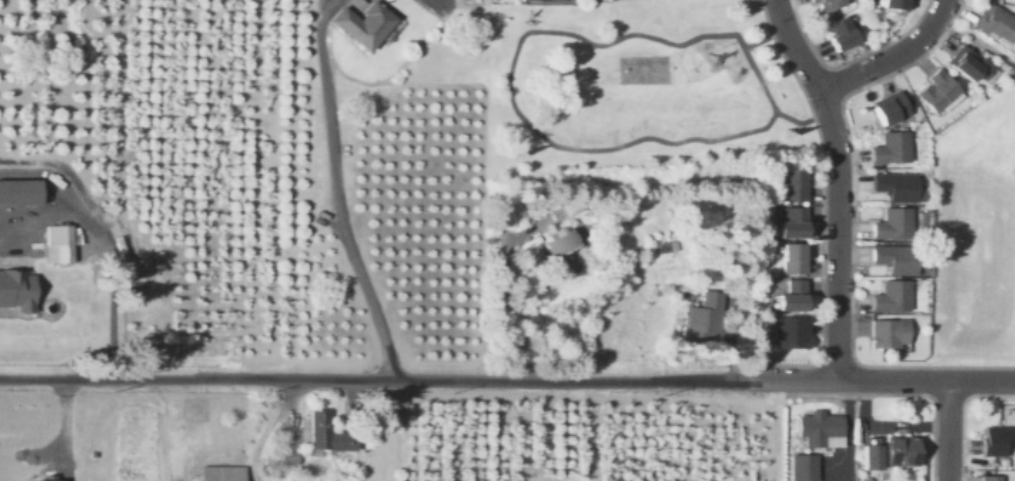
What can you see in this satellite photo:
building: (537, 1)
building: (828, 4)
building: (894, 4)
building: (994, 23)
building: (361, 25)
building: (839, 34)
road: (765, 40)
road: (893, 56)
building: (968, 65)
park: (642, 71)
road: (509, 90)
building: (934, 93)
park: (637, 96)
building: (888, 110)
building: (890, 149)
road: (838, 183)
building: (790, 187)
building: (897, 187)
building: (19, 193)
road: (336, 193)
building: (790, 223)
building: (890, 225)
road: (100, 239)
building: (557, 242)
building: (57, 244)
building: (789, 259)
building: (892, 259)
building: (16, 290)
building: (790, 297)
building: (890, 297)
road: (500, 310)
building: (702, 319)
building: (788, 333)
building: (888, 334)
road: (372, 380)
road: (879, 380)
building: (818, 430)
road: (949, 431)
building: (323, 436)
building: (997, 441)
building: (900, 453)
building: (281, 458)
building: (869, 458)
building: (802, 468)
building: (221, 474)
building: (49, 479)
building: (991, 479)

